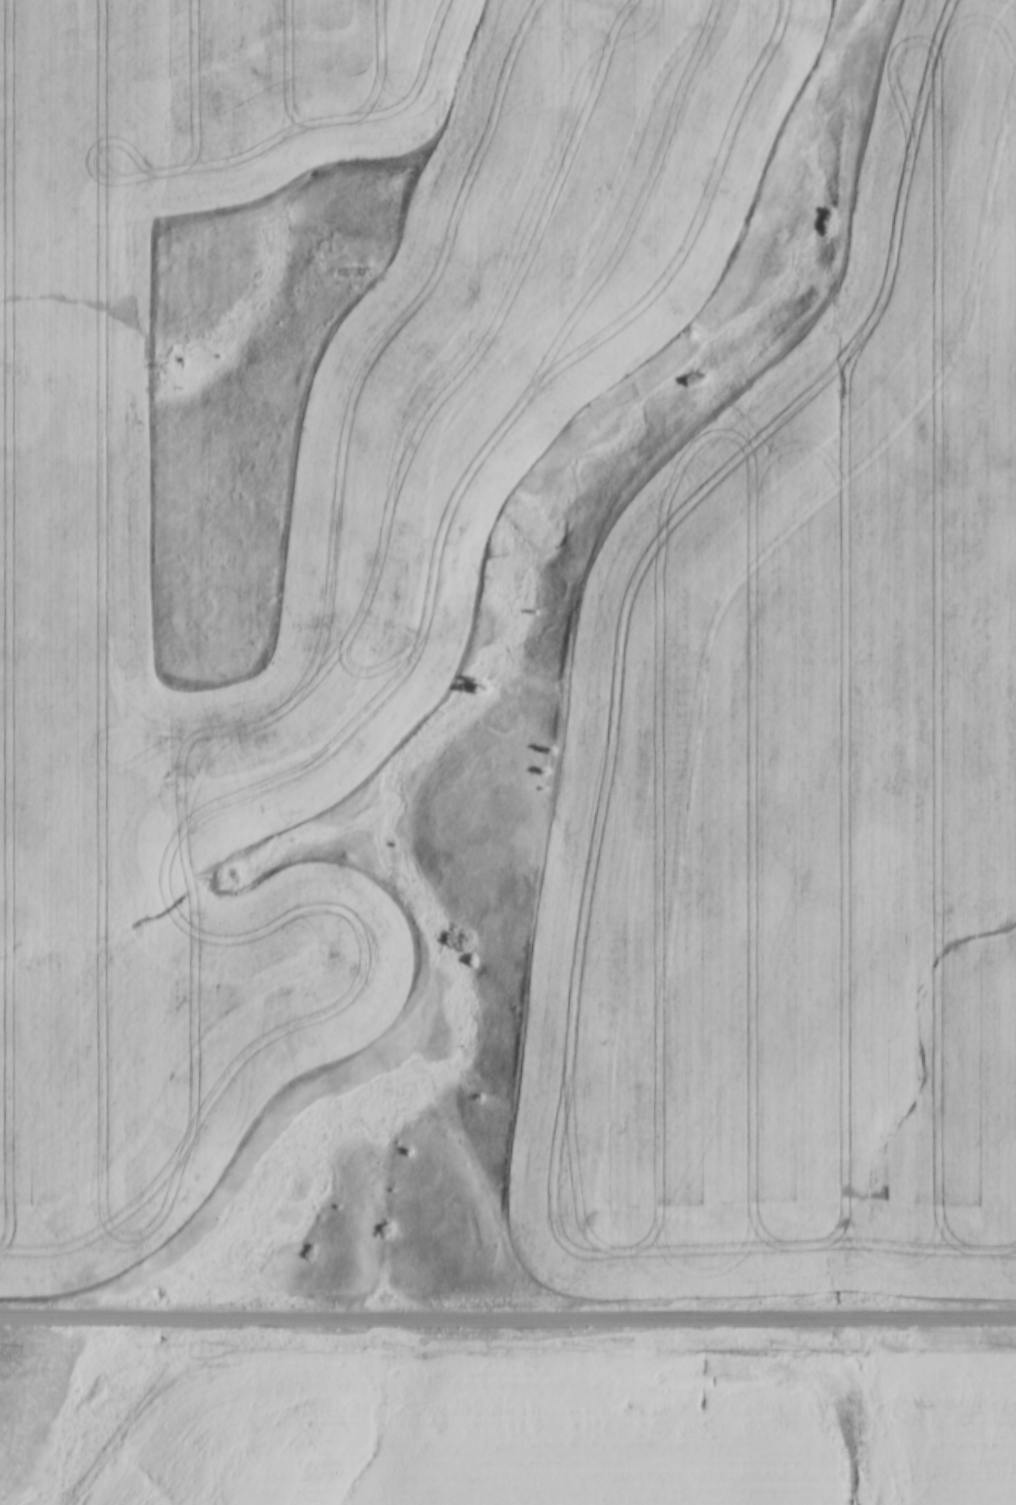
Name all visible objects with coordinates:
road: (507, 1320)

